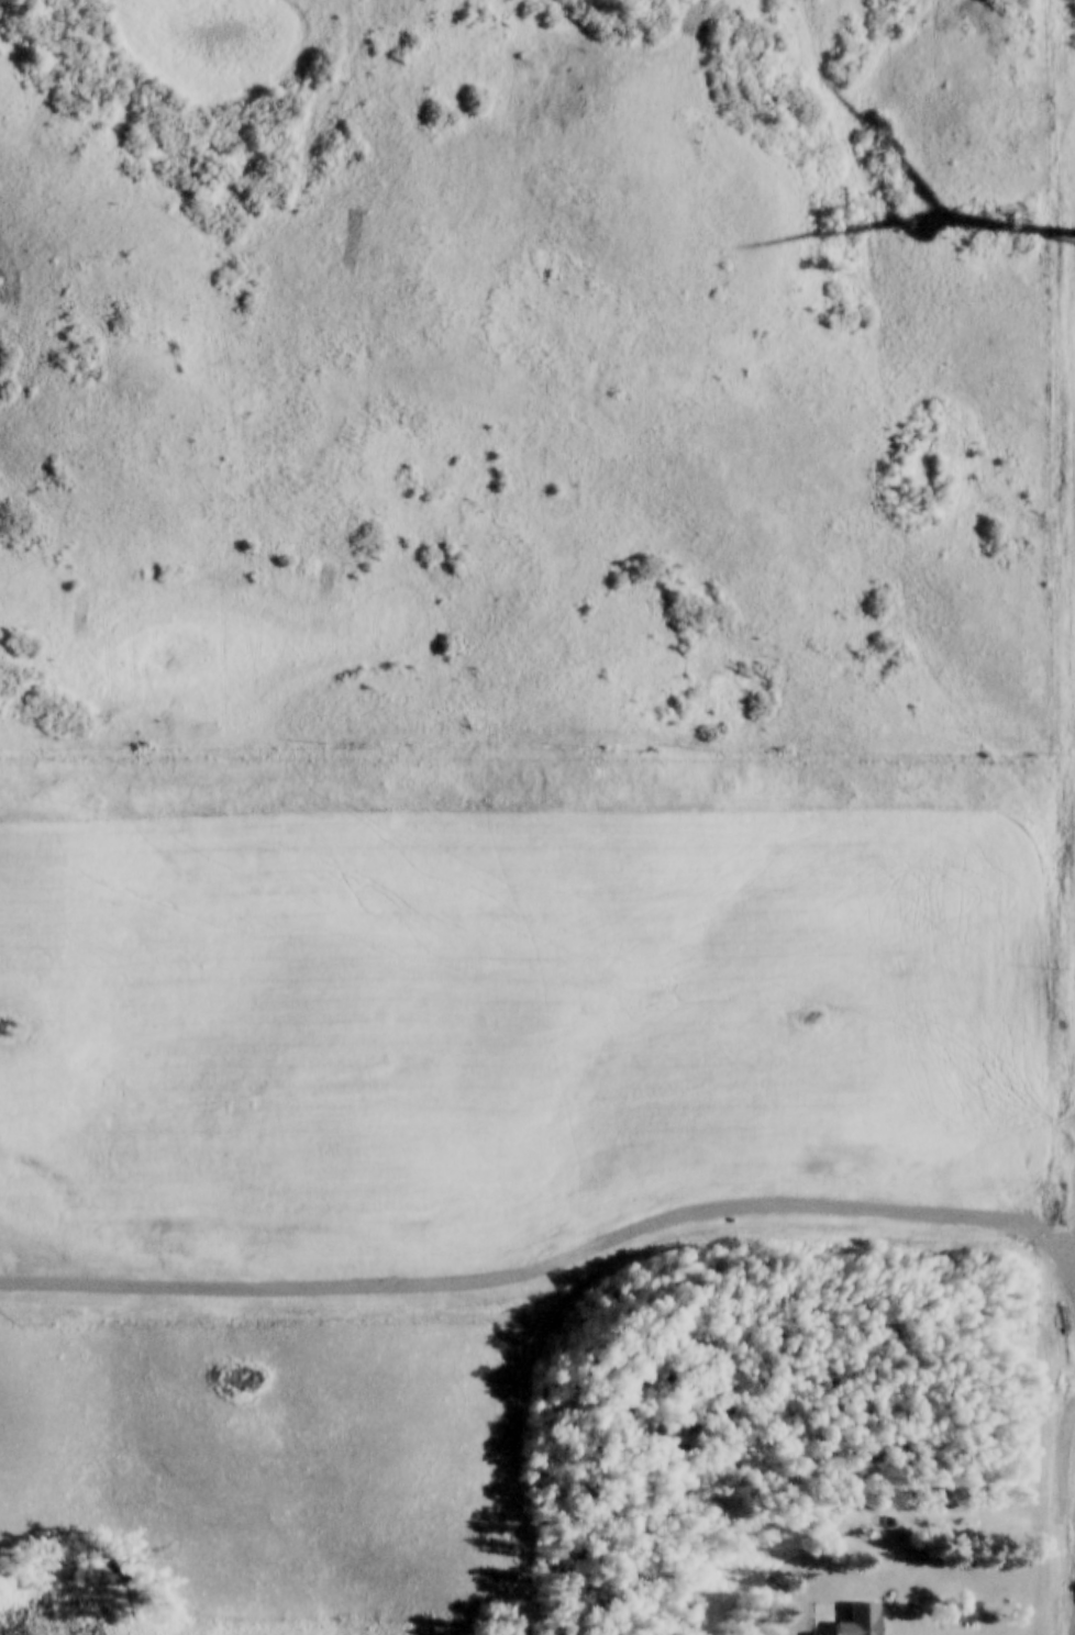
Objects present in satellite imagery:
road: (563, 1264)
road: (1070, 1590)
building: (869, 1620)

